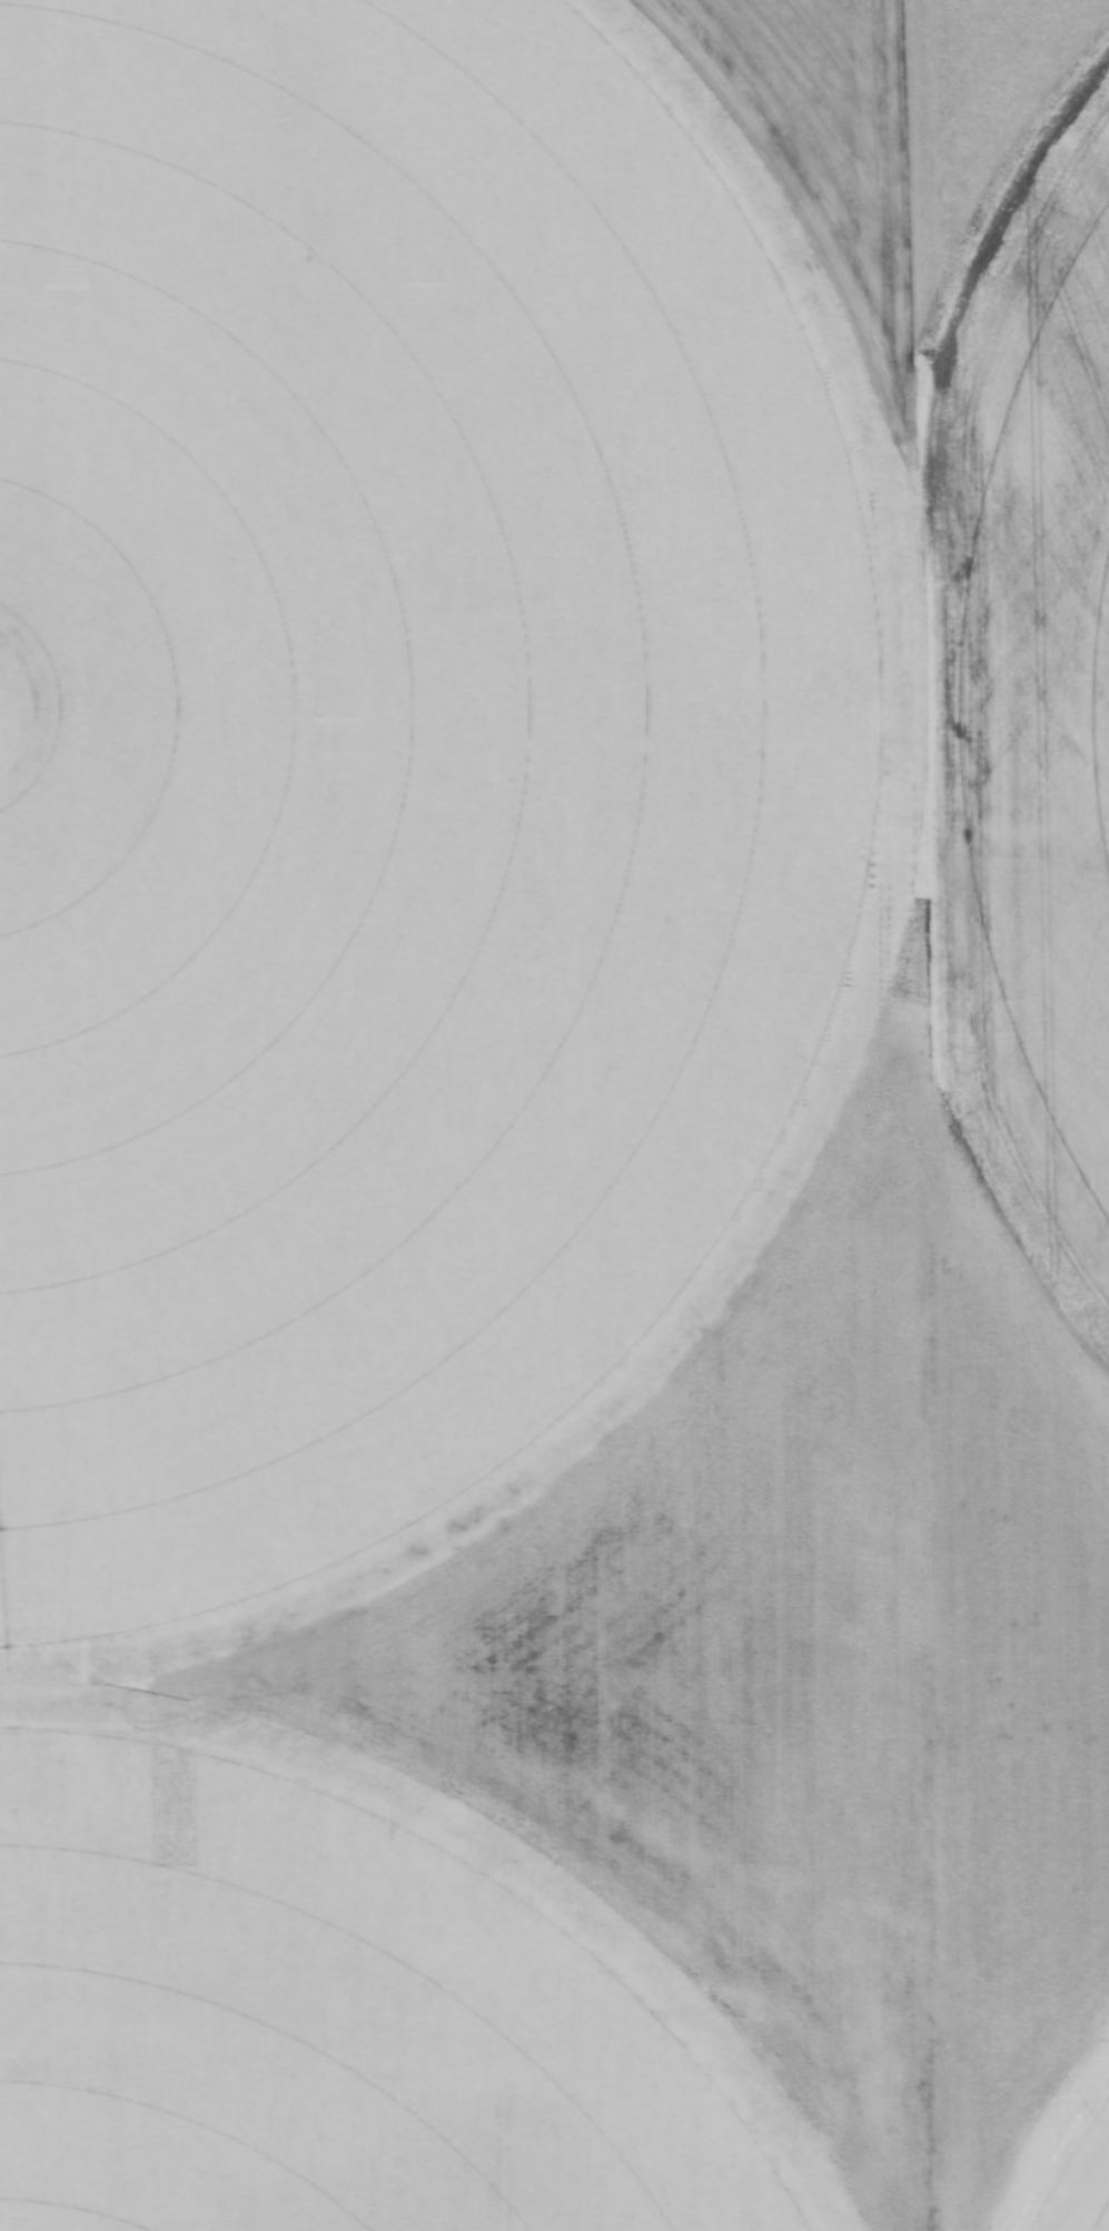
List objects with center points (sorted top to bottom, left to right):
crop: (544, 1146)

